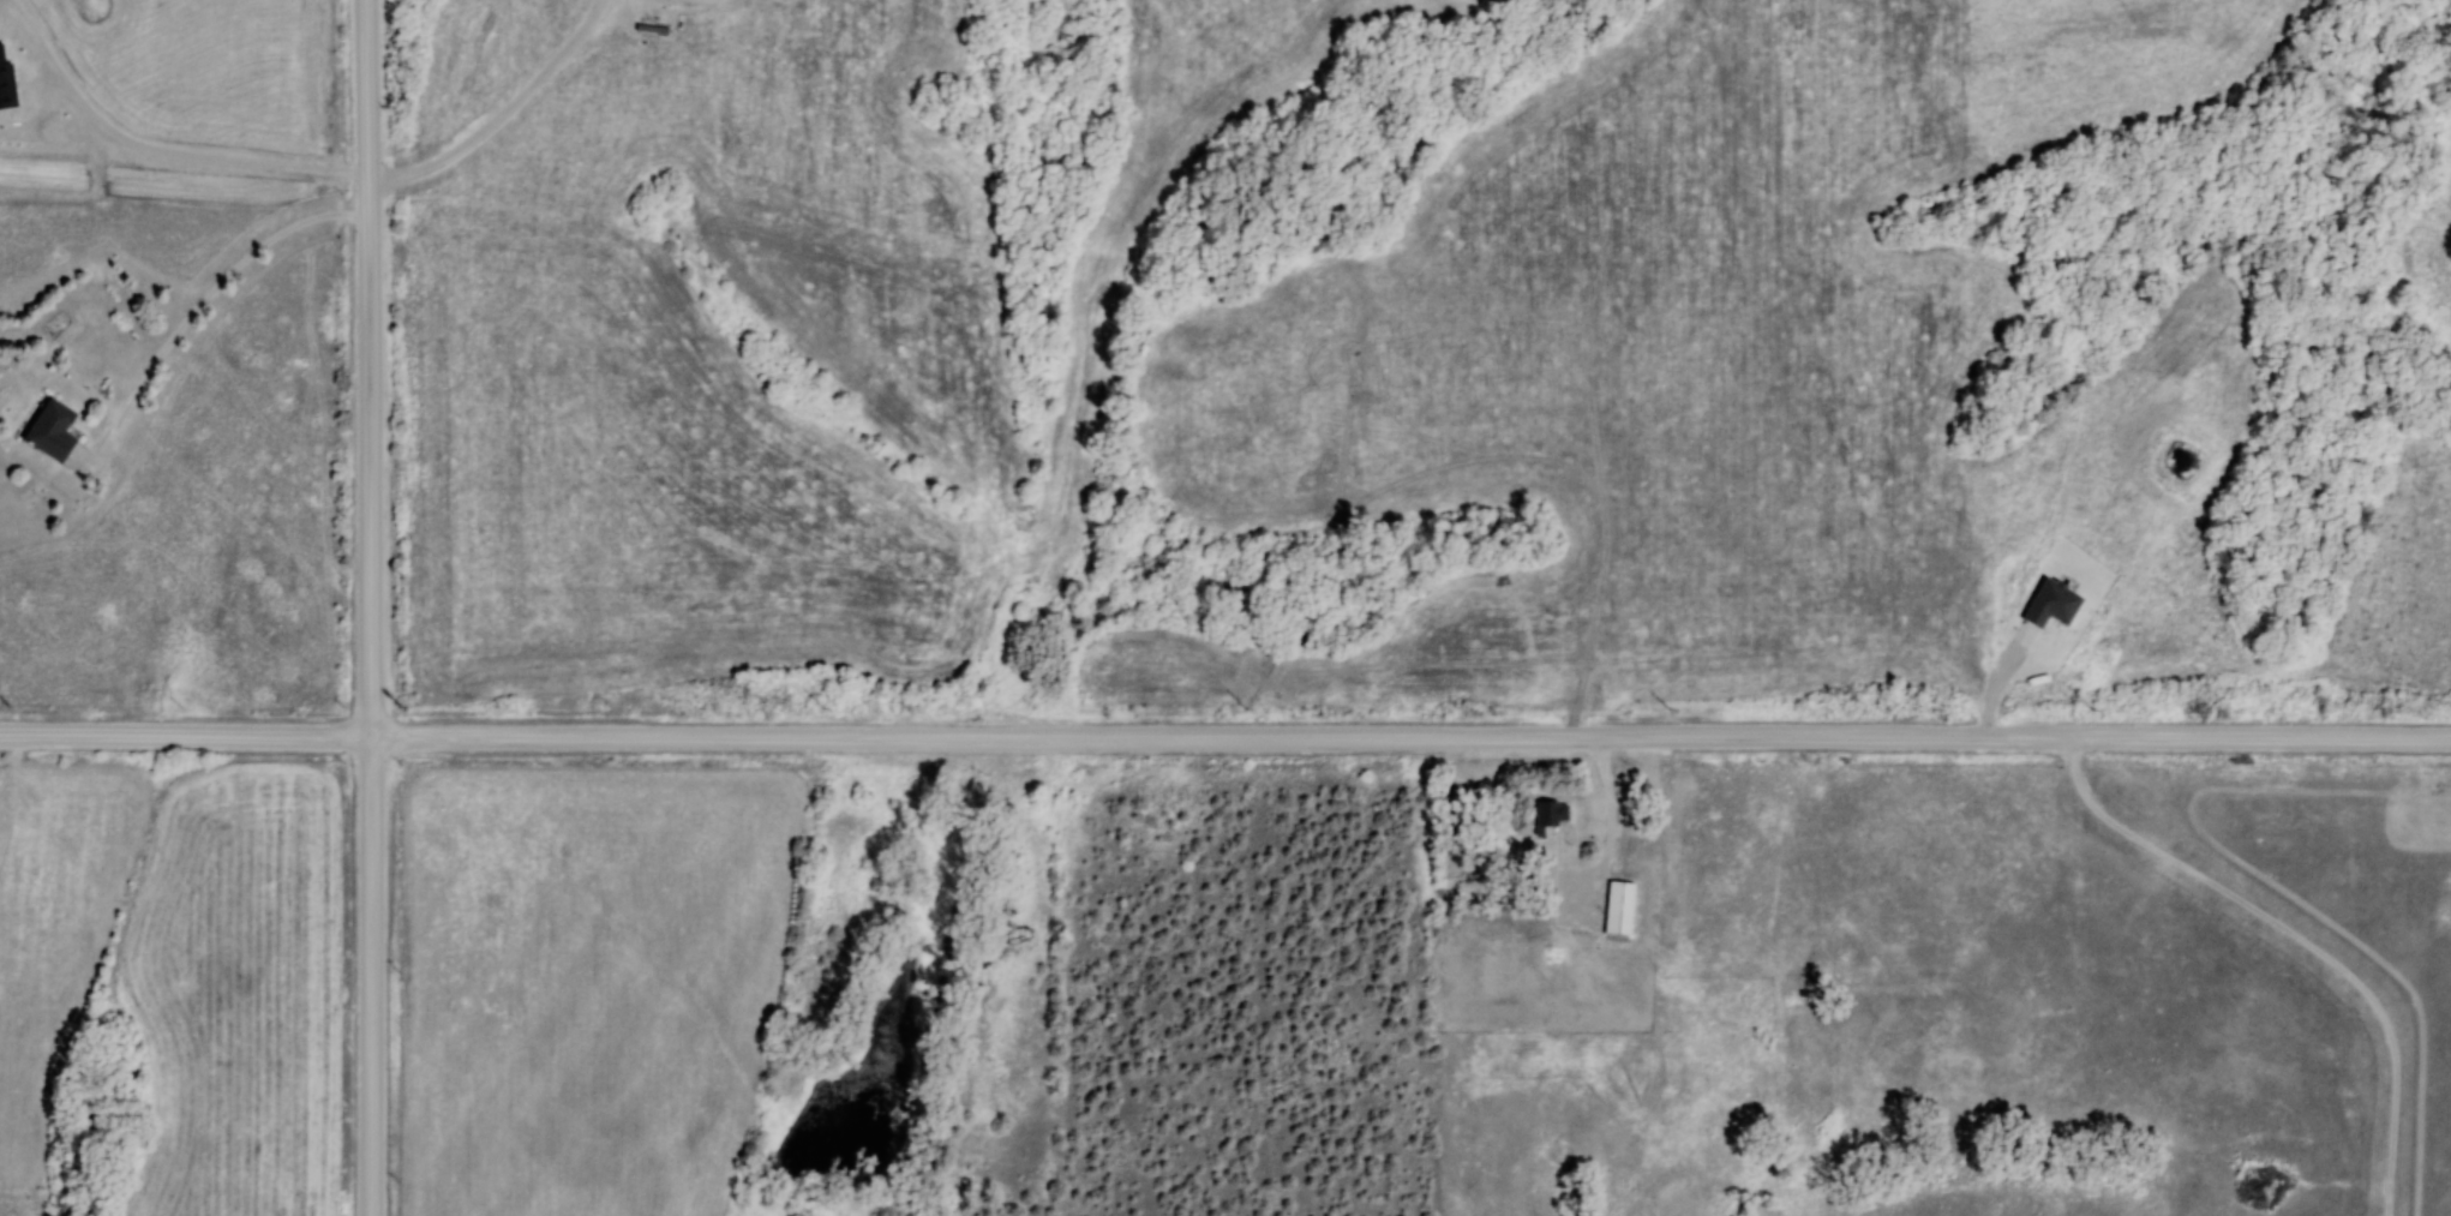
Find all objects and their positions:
road: (502, 115)
road: (151, 152)
road: (199, 309)
building: (49, 431)
road: (371, 607)
road: (1224, 738)
building: (1550, 814)
building: (1617, 909)
road: (2299, 938)

